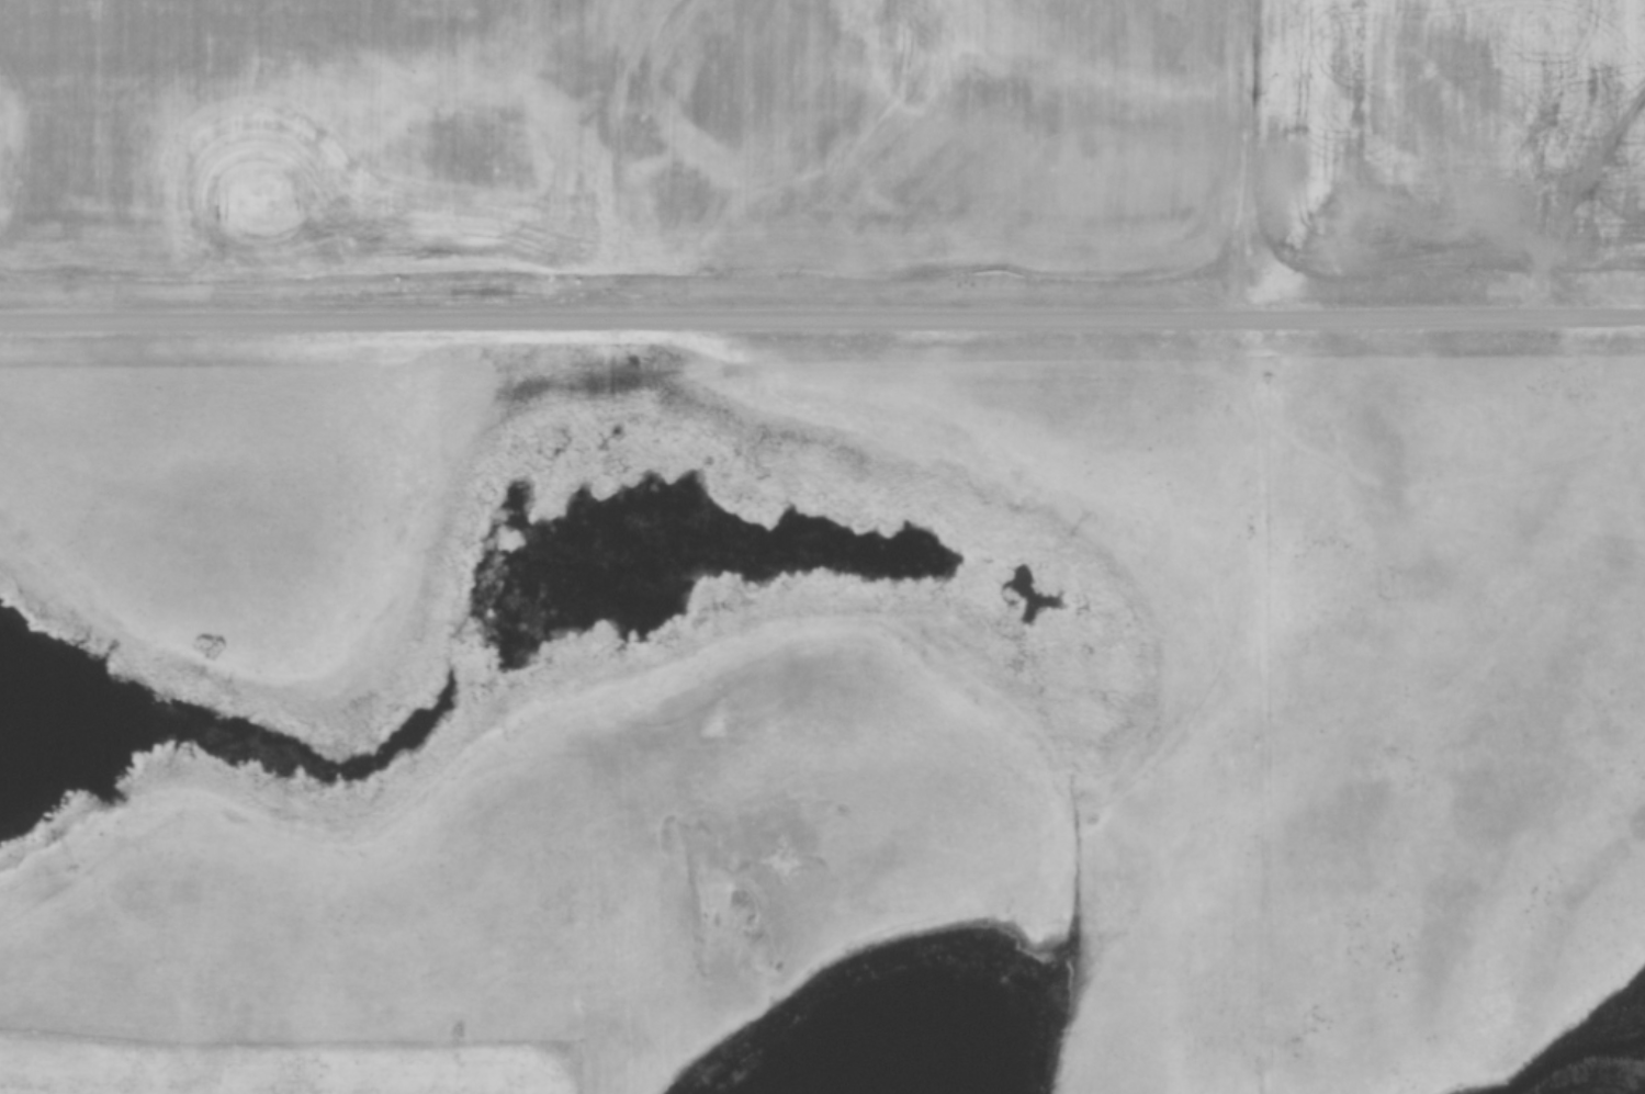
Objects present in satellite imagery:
road: (1285, 159)
road: (822, 319)

